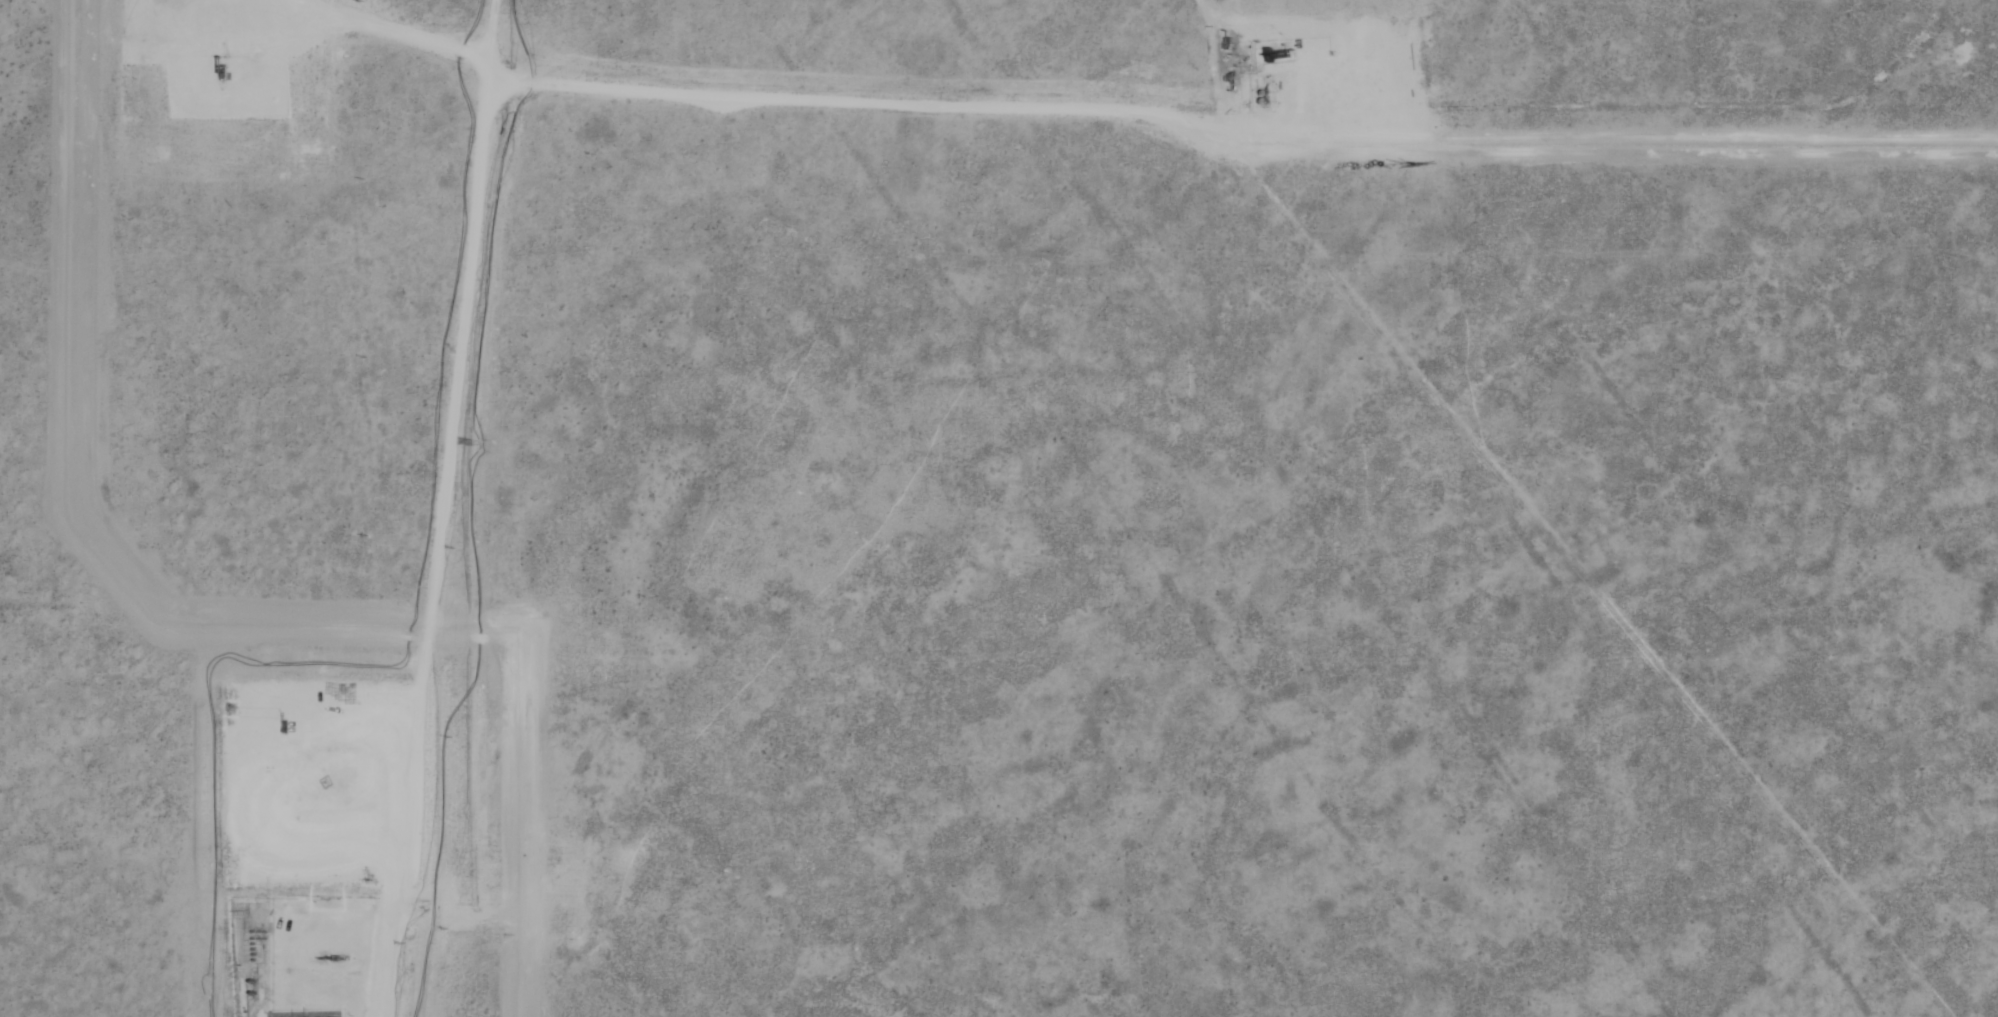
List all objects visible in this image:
road: (212, 28)
road: (383, 29)
petroleum well: (1333, 59)
road: (942, 104)
petroleum well: (213, 107)
road: (431, 508)
petroleum well: (321, 791)
petroleum well: (191, 815)

